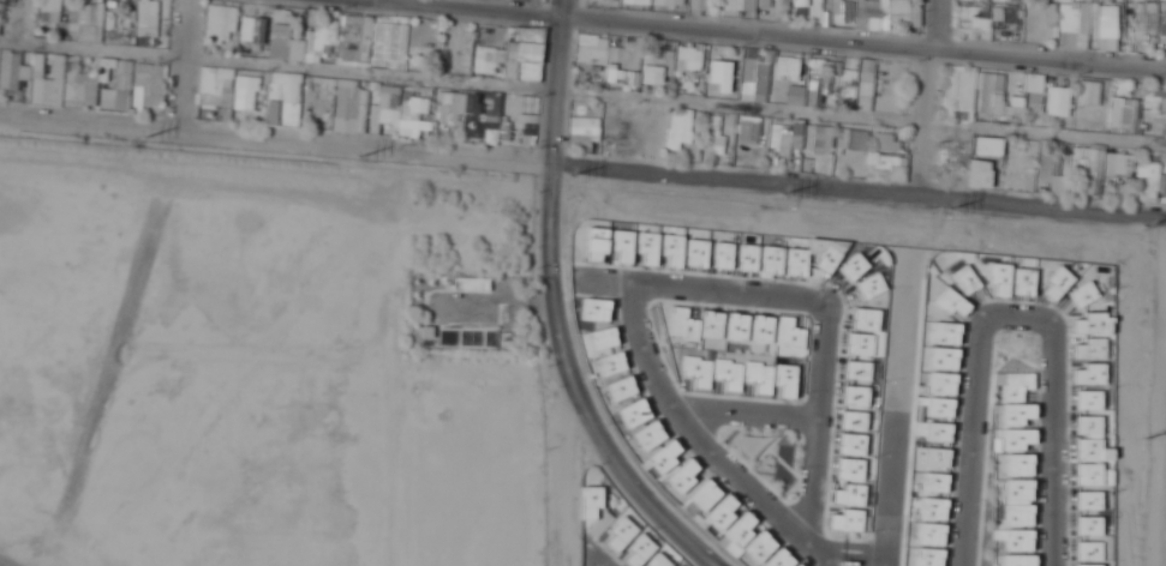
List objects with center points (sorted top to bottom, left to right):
road: (566, 10)
road: (184, 62)

